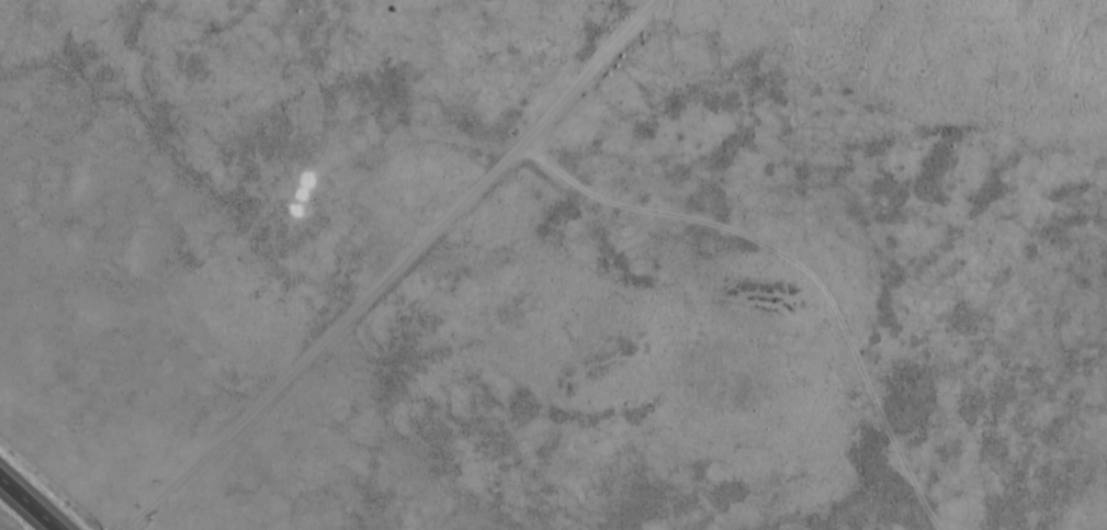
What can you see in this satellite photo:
road: (398, 269)
road: (33, 499)

